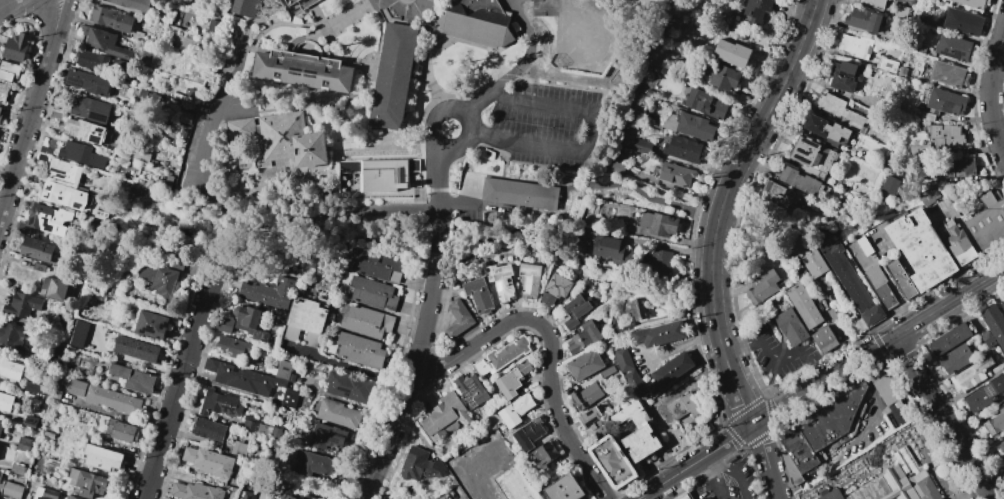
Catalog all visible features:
building: (891, 0)
road: (6, 3)
building: (303, 3)
building: (875, 3)
building: (972, 3)
building: (132, 4)
building: (245, 7)
building: (755, 10)
building: (900, 11)
road: (50, 14)
road: (63, 15)
building: (111, 19)
building: (862, 20)
building: (475, 22)
building: (962, 22)
building: (213, 28)
building: (137, 35)
building: (104, 43)
building: (854, 46)
building: (17, 47)
building: (953, 48)
building: (729, 52)
building: (88, 60)
building: (178, 64)
building: (886, 65)
building: (303, 69)
road: (521, 69)
building: (9, 72)
building: (948, 74)
building: (722, 76)
building: (844, 76)
building: (393, 78)
rooftop solar panel: (74, 80)
building: (88, 82)
road: (990, 88)
building: (4, 93)
building: (143, 94)
building: (178, 97)
building: (155, 98)
building: (186, 99)
building: (702, 101)
building: (943, 102)
building: (0, 109)
building: (91, 109)
building: (839, 111)
rooftop solar panel: (98, 114)
building: (56, 115)
building: (0, 116)
building: (186, 118)
road: (27, 122)
building: (164, 123)
parking lot: (546, 126)
building: (689, 126)
road: (468, 129)
building: (82, 130)
building: (826, 131)
building: (183, 135)
building: (945, 135)
rooftop solar panel: (95, 138)
building: (279, 140)
road: (586, 142)
building: (641, 146)
building: (681, 148)
rooftop solar panel: (801, 149)
building: (46, 150)
building: (918, 151)
building: (141, 154)
building: (81, 155)
building: (812, 155)
rooftop solar panel: (800, 157)
building: (43, 158)
building: (154, 162)
building: (164, 163)
building: (613, 167)
building: (958, 168)
road: (735, 169)
building: (65, 171)
building: (674, 174)
rooftop solar panel: (59, 175)
building: (37, 179)
rooftop solar panel: (88, 181)
building: (379, 182)
building: (800, 182)
building: (126, 184)
building: (160, 184)
building: (890, 185)
rooftop solar panel: (50, 188)
building: (146, 192)
building: (521, 194)
building: (62, 195)
rooftop solar panel: (59, 196)
building: (778, 196)
road: (436, 198)
road: (650, 198)
rooftop solar panel: (79, 204)
road: (456, 206)
building: (52, 219)
building: (987, 222)
building: (658, 223)
road: (257, 227)
building: (957, 242)
road: (651, 243)
building: (35, 249)
building: (610, 249)
building: (920, 249)
building: (811, 261)
building: (26, 263)
building: (659, 263)
road: (433, 264)
building: (377, 266)
building: (39, 268)
building: (875, 276)
building: (529, 277)
rooftop solar panel: (507, 278)
building: (160, 280)
building: (901, 280)
building: (500, 281)
building: (851, 284)
rooftop solar panel: (498, 285)
rooftop solar panel: (508, 285)
building: (80, 286)
building: (762, 287)
building: (555, 288)
building: (54, 289)
building: (273, 290)
building: (107, 292)
building: (374, 294)
building: (479, 295)
building: (76, 296)
building: (886, 296)
building: (22, 305)
building: (1002, 305)
building: (804, 306)
building: (637, 309)
building: (574, 310)
building: (459, 319)
building: (308, 321)
building: (368, 321)
building: (251, 323)
rooftop solar panel: (163, 324)
building: (224, 324)
building: (857, 324)
building: (152, 325)
building: (993, 325)
rooftop solar panel: (149, 327)
building: (791, 327)
building: (622, 328)
building: (78, 333)
building: (659, 334)
building: (11, 335)
building: (583, 337)
building: (986, 339)
building: (948, 340)
building: (824, 341)
road: (551, 344)
building: (59, 347)
road: (878, 347)
building: (232, 348)
building: (137, 349)
building: (360, 351)
parking lot: (777, 354)
building: (500, 355)
road: (774, 357)
building: (622, 359)
building: (954, 359)
road: (347, 365)
building: (583, 365)
building: (997, 368)
building: (11, 370)
building: (284, 371)
building: (606, 371)
building: (668, 372)
road: (773, 373)
building: (970, 375)
building: (292, 378)
building: (134, 379)
building: (246, 379)
building: (512, 379)
building: (634, 383)
building: (60, 384)
building: (887, 385)
building: (351, 387)
building: (77, 388)
building: (36, 389)
road: (735, 389)
road: (406, 390)
building: (471, 390)
rooftop solar panel: (990, 390)
road: (177, 392)
rooftop solar panel: (467, 393)
building: (984, 394)
building: (57, 395)
building: (585, 396)
building: (290, 398)
building: (113, 400)
building: (7, 402)
building: (222, 404)
building: (250, 406)
building: (683, 407)
rooftop solar panel: (226, 409)
building: (514, 410)
building: (338, 414)
building: (665, 414)
road: (874, 414)
building: (445, 417)
road: (943, 418)
building: (831, 419)
building: (995, 421)
building: (31, 423)
building: (250, 423)
building: (590, 423)
building: (1, 426)
building: (209, 429)
building: (265, 430)
building: (121, 431)
building: (276, 432)
rooftop solar panel: (323, 432)
building: (636, 432)
building: (49, 434)
building: (527, 434)
rooftop solar panel: (334, 435)
building: (326, 437)
rooftop solar panel: (329, 441)
building: (275, 443)
building: (24, 444)
building: (1001, 446)
building: (239, 448)
building: (797, 449)
building: (541, 457)
building: (102, 458)
building: (905, 460)
road: (766, 461)
building: (209, 462)
building: (613, 462)
road: (694, 462)
building: (56, 464)
building: (313, 464)
building: (420, 465)
parking lot: (482, 467)
building: (19, 470)
building: (791, 470)
road: (729, 473)
building: (0, 475)
road: (716, 476)
building: (88, 483)
parking lot: (730, 483)
building: (515, 484)
building: (563, 488)
building: (927, 489)
building: (12, 490)
building: (196, 491)
building: (45, 493)
building: (247, 494)
building: (832, 495)
building: (71, 497)
building: (685, 497)
building: (239, 498)
building: (296, 498)

